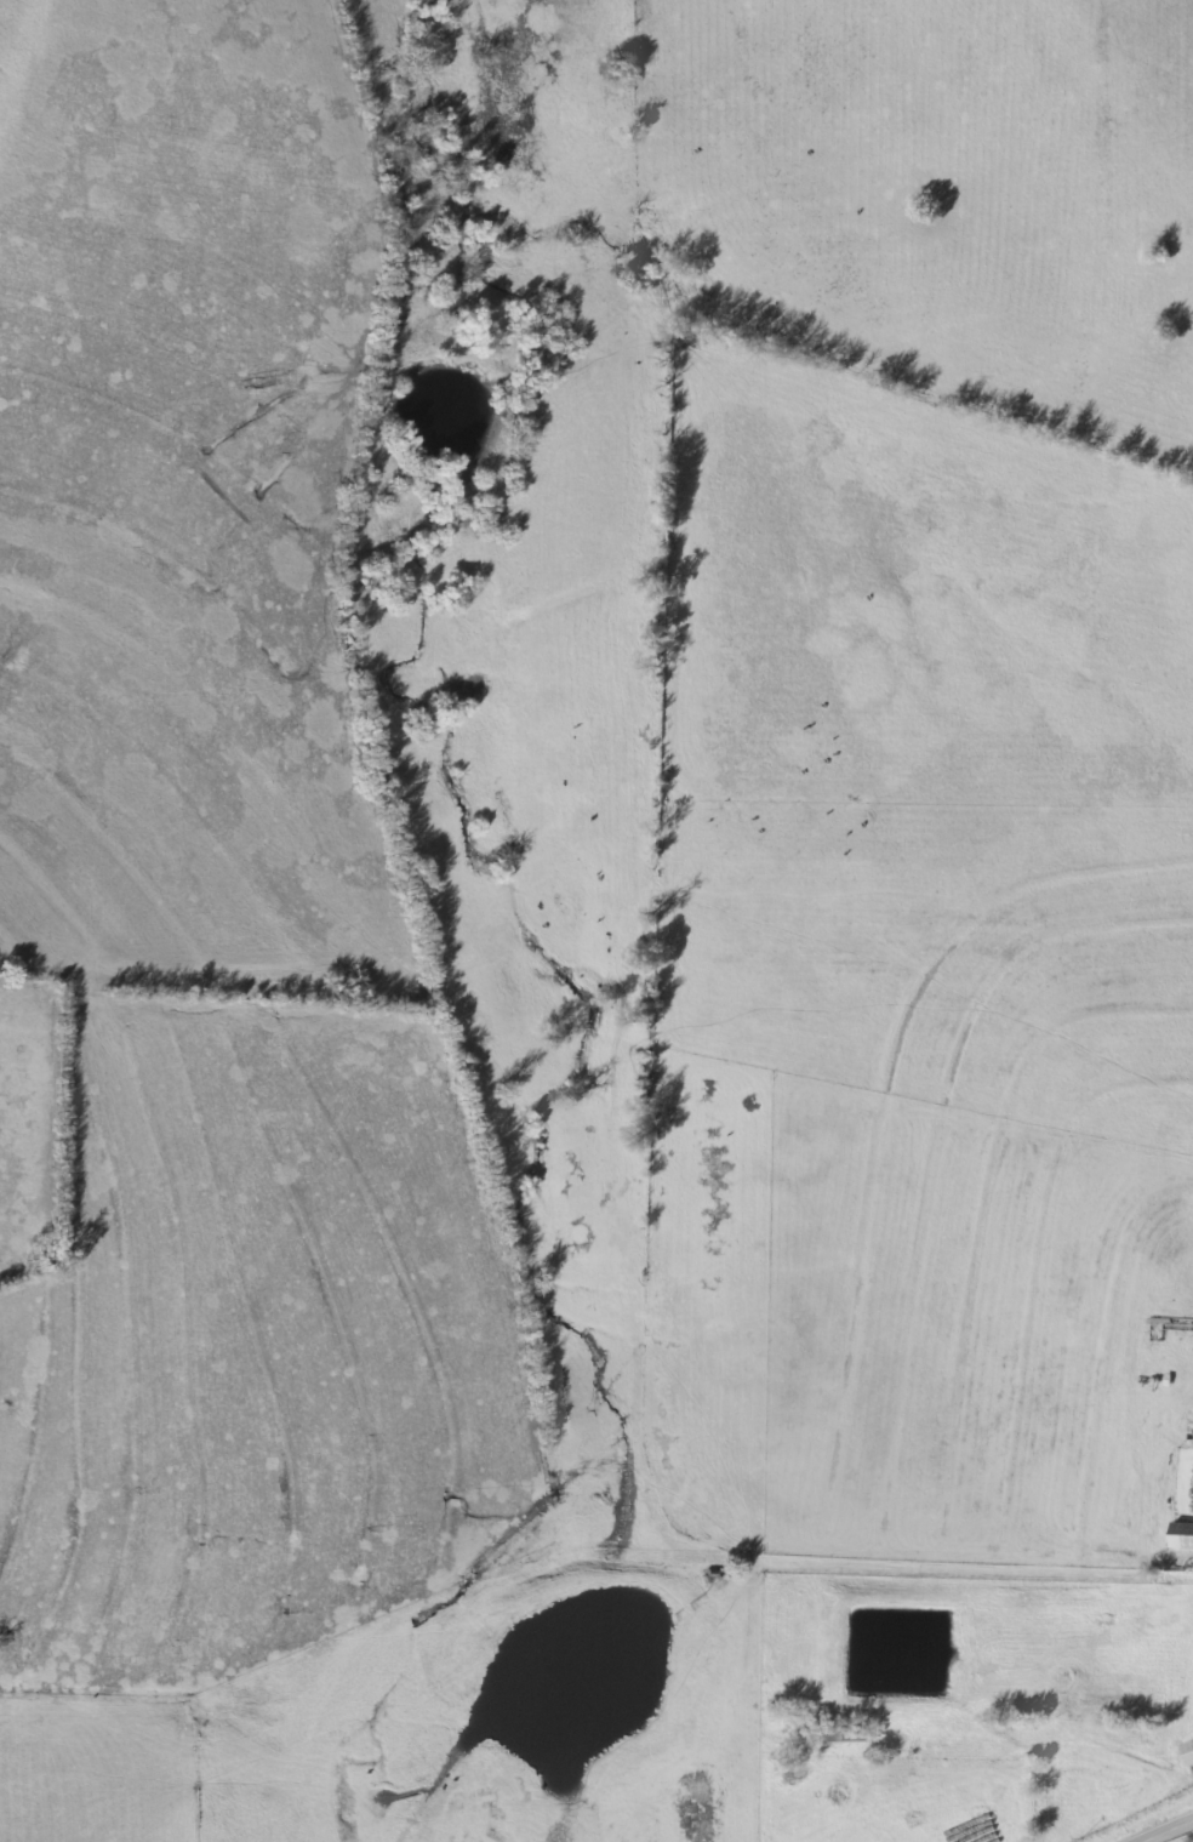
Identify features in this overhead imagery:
building: (1170, 1331)
building: (1181, 1538)
building: (1187, 1751)
road: (1168, 1831)

